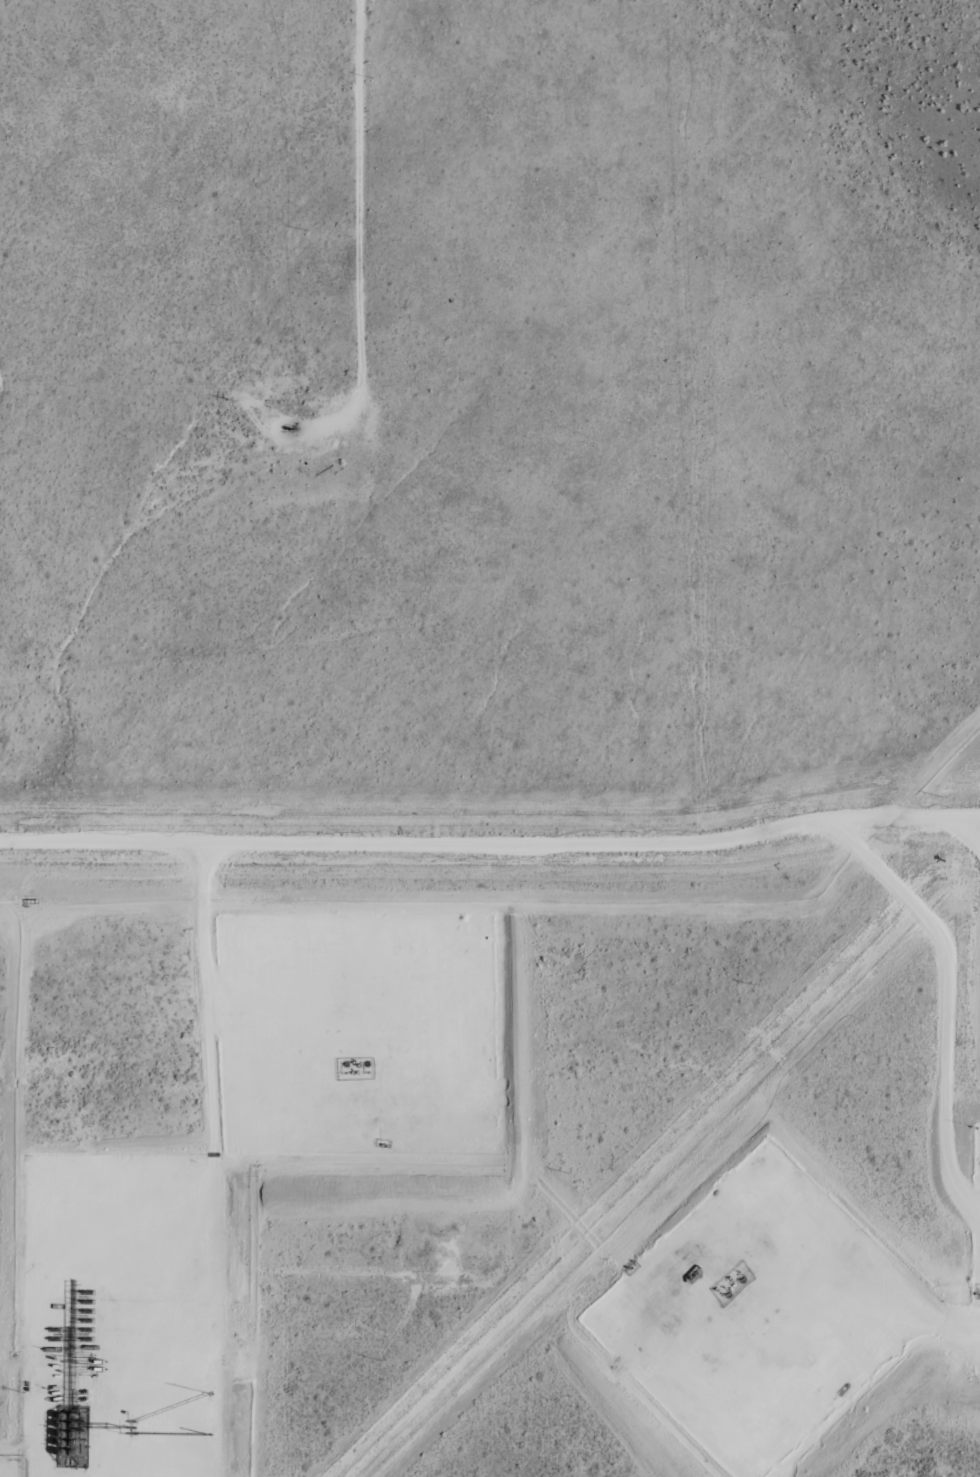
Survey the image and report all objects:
road: (360, 187)
road: (977, 813)
road: (600, 849)
road: (949, 989)
road: (363, 1023)
road: (218, 1052)
petroleum well: (345, 1063)
petroleum well: (366, 1063)
petroleum well: (742, 1279)
petroleum well: (728, 1295)
road: (141, 1334)
road: (849, 1343)

